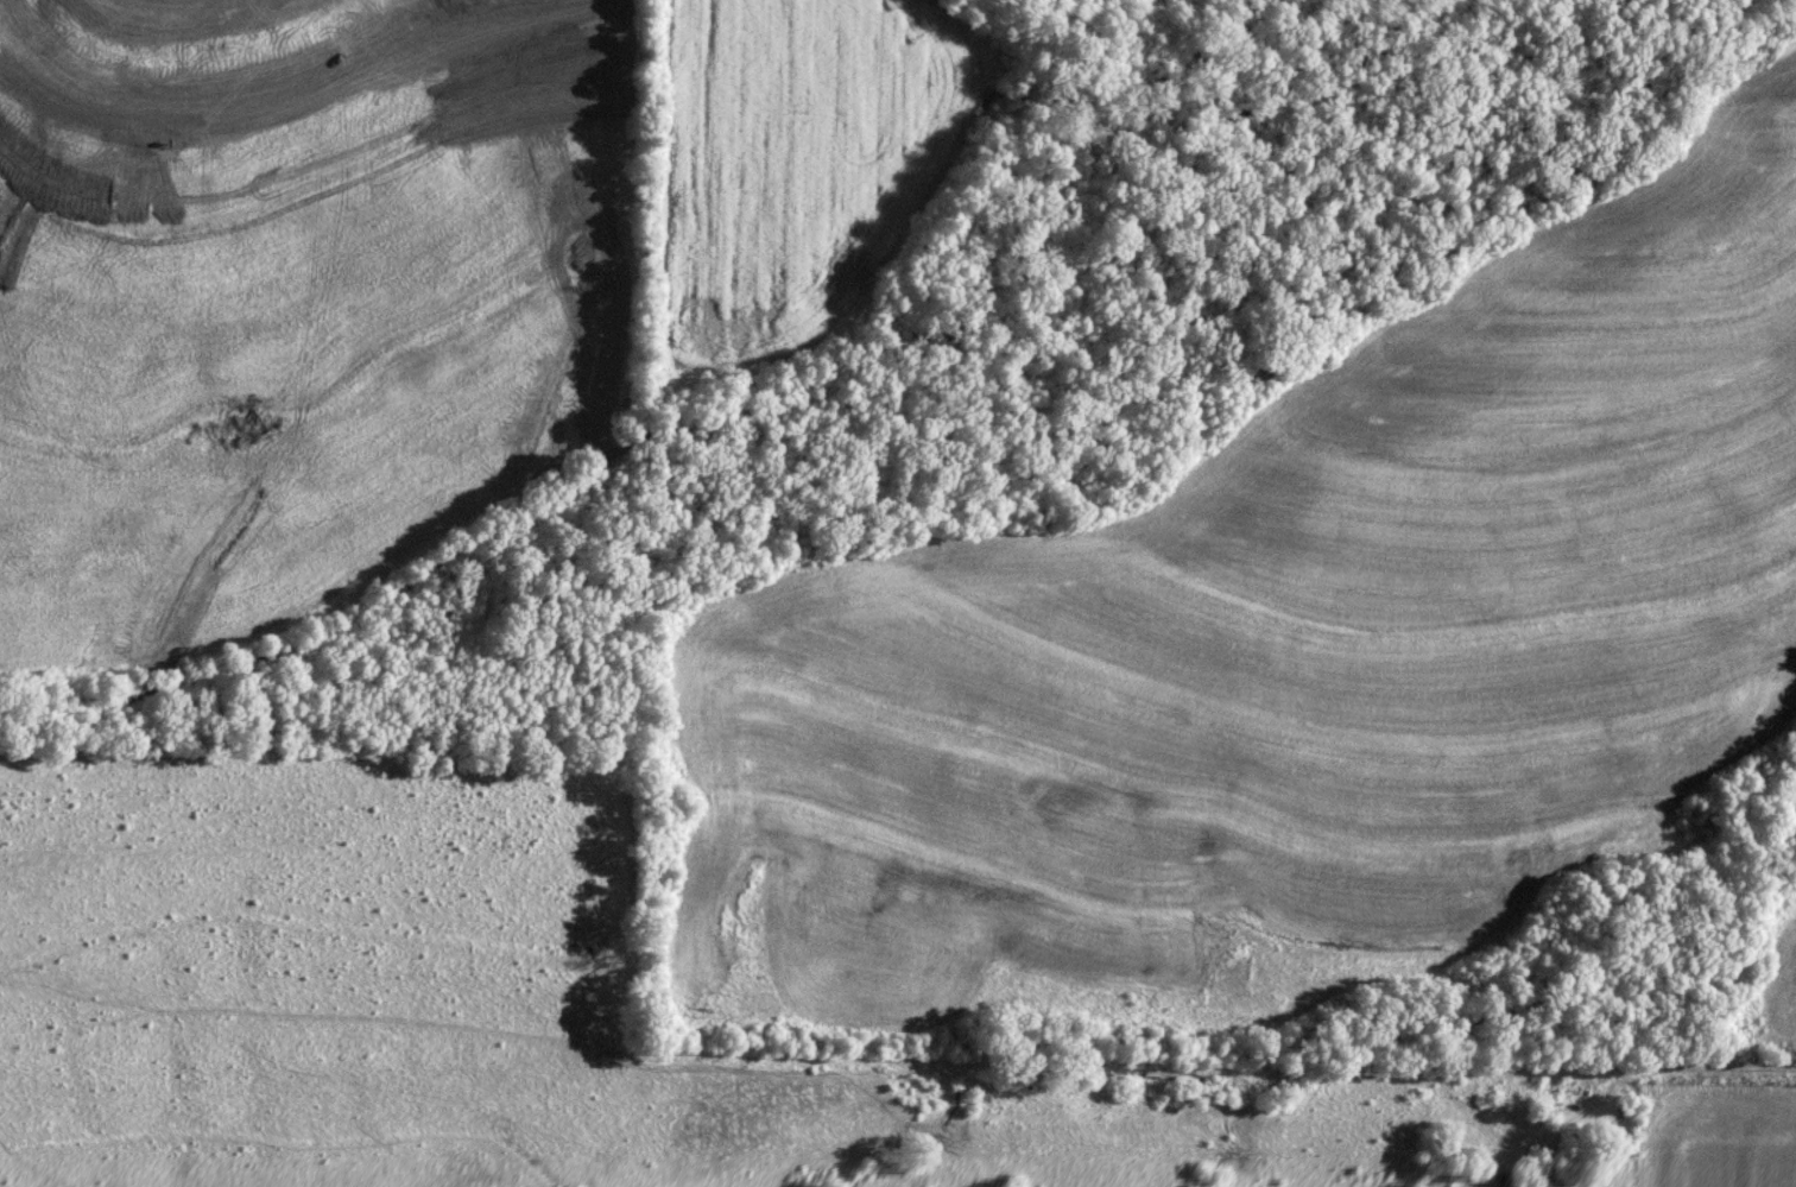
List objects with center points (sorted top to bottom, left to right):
road: (1686, 1061)

